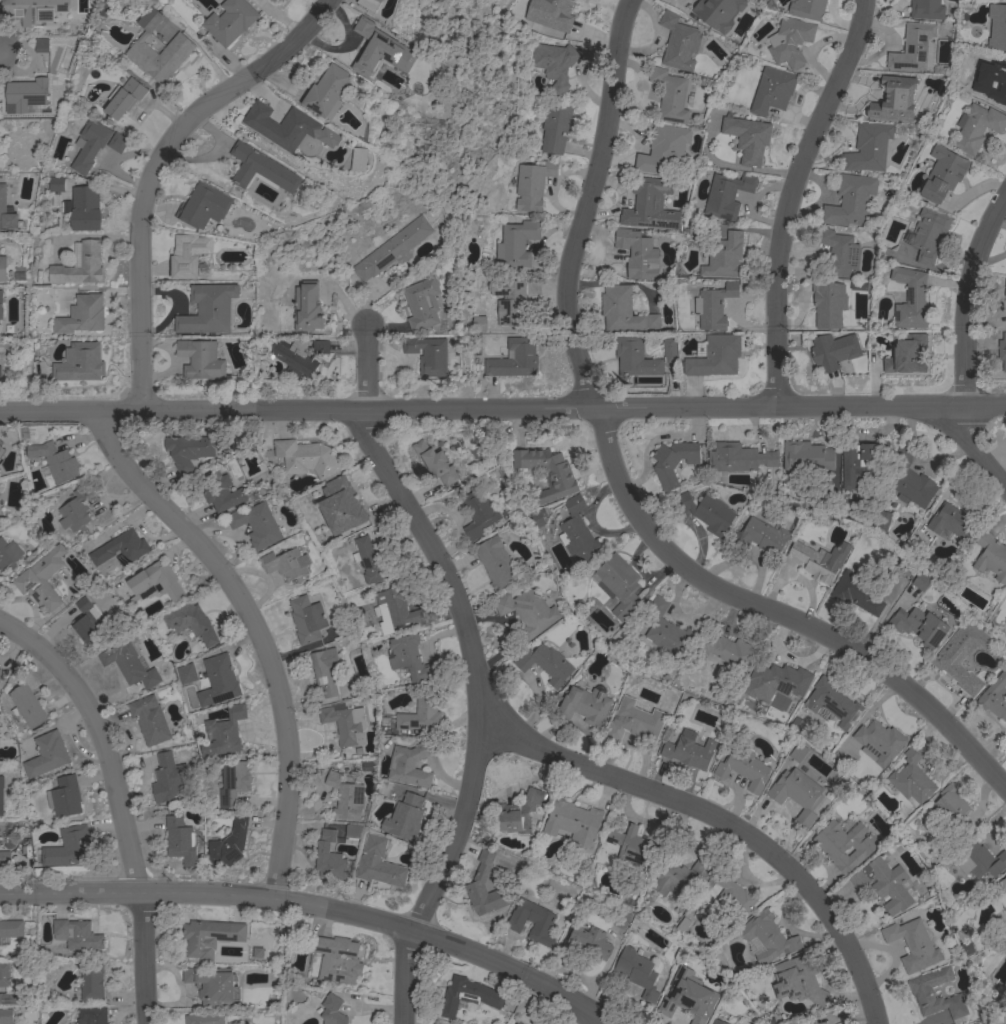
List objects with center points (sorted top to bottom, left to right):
building: (271, 0)
building: (753, 0)
building: (369, 4)
building: (808, 9)
building: (926, 9)
building: (30, 11)
building: (717, 12)
building: (550, 13)
building: (229, 21)
building: (997, 26)
building: (789, 41)
building: (678, 42)
building: (40, 45)
building: (912, 47)
building: (380, 49)
road: (1, 50)
building: (176, 50)
building: (553, 64)
building: (990, 83)
building: (772, 90)
building: (326, 92)
building: (25, 94)
building: (669, 95)
building: (123, 98)
building: (895, 98)
building: (554, 126)
building: (287, 127)
building: (976, 127)
building: (747, 138)
building: (117, 142)
building: (89, 144)
building: (868, 147)
building: (663, 149)
building: (359, 159)
road: (151, 168)
building: (260, 169)
building: (942, 173)
building: (55, 184)
building: (532, 185)
building: (726, 195)
road: (791, 199)
building: (850, 200)
road: (586, 204)
building: (650, 205)
building: (202, 206)
building: (85, 208)
building: (8, 213)
building: (929, 233)
building: (516, 244)
building: (392, 248)
building: (838, 253)
building: (637, 254)
building: (187, 255)
building: (724, 256)
building: (80, 266)
building: (4, 269)
building: (1005, 287)
building: (910, 299)
building: (509, 300)
building: (421, 303)
building: (1, 304)
building: (713, 304)
building: (828, 304)
building: (307, 307)
building: (208, 309)
building: (623, 311)
building: (81, 315)
building: (478, 324)
road: (964, 343)
building: (669, 350)
building: (833, 351)
building: (1002, 351)
building: (910, 352)
building: (428, 354)
building: (299, 356)
building: (713, 356)
building: (635, 357)
building: (200, 359)
building: (513, 359)
building: (80, 362)
building: (0, 373)
road: (503, 409)
building: (1, 449)
building: (190, 450)
building: (807, 456)
building: (305, 457)
building: (738, 458)
building: (0, 459)
building: (54, 461)
building: (672, 462)
building: (859, 462)
building: (436, 463)
building: (547, 472)
building: (910, 480)
building: (221, 491)
building: (340, 504)
building: (75, 511)
building: (706, 511)
building: (478, 513)
building: (538, 517)
building: (883, 521)
building: (951, 521)
building: (257, 525)
building: (577, 531)
building: (763, 536)
building: (120, 548)
building: (8, 555)
building: (991, 556)
building: (370, 560)
building: (820, 560)
building: (496, 562)
building: (286, 564)
building: (42, 579)
building: (921, 581)
building: (155, 582)
building: (619, 585)
building: (856, 593)
building: (398, 607)
building: (527, 611)
road: (779, 612)
building: (307, 619)
building: (191, 621)
building: (86, 622)
building: (919, 626)
road: (251, 629)
building: (667, 630)
building: (728, 650)
building: (961, 655)
building: (409, 657)
building: (545, 663)
building: (128, 664)
road: (473, 666)
building: (324, 670)
building: (186, 673)
building: (781, 678)
building: (218, 681)
building: (995, 696)
building: (833, 702)
building: (26, 705)
building: (583, 705)
building: (420, 714)
building: (149, 719)
building: (635, 721)
building: (345, 722)
building: (796, 724)
building: (224, 732)
building: (878, 742)
building: (689, 750)
building: (797, 752)
building: (46, 754)
building: (835, 759)
building: (410, 764)
building: (743, 766)
building: (168, 777)
building: (911, 778)
building: (233, 782)
building: (386, 788)
building: (797, 793)
building: (1, 796)
building: (64, 797)
building: (346, 797)
road: (116, 803)
building: (951, 808)
building: (518, 812)
building: (405, 817)
road: (723, 820)
building: (573, 822)
building: (354, 830)
building: (180, 840)
building: (228, 844)
building: (845, 844)
building: (631, 845)
building: (70, 847)
building: (329, 857)
building: (4, 858)
building: (977, 859)
building: (383, 864)
building: (1005, 875)
building: (679, 877)
building: (883, 883)
building: (483, 887)
building: (999, 891)
building: (733, 897)
road: (317, 906)
building: (621, 919)
building: (532, 920)
building: (11, 928)
building: (78, 934)
building: (210, 936)
building: (766, 937)
building: (587, 942)
building: (912, 944)
building: (337, 959)
building: (637, 972)
building: (4, 974)
building: (91, 980)
building: (803, 981)
building: (213, 985)
building: (999, 987)
building: (687, 994)
building: (922, 994)
building: (468, 995)
building: (9, 998)
building: (332, 1010)
building: (91, 1015)
road: (593, 1015)
building: (6, 1016)
building: (204, 1018)
building: (518, 1022)
building: (718, 1022)

